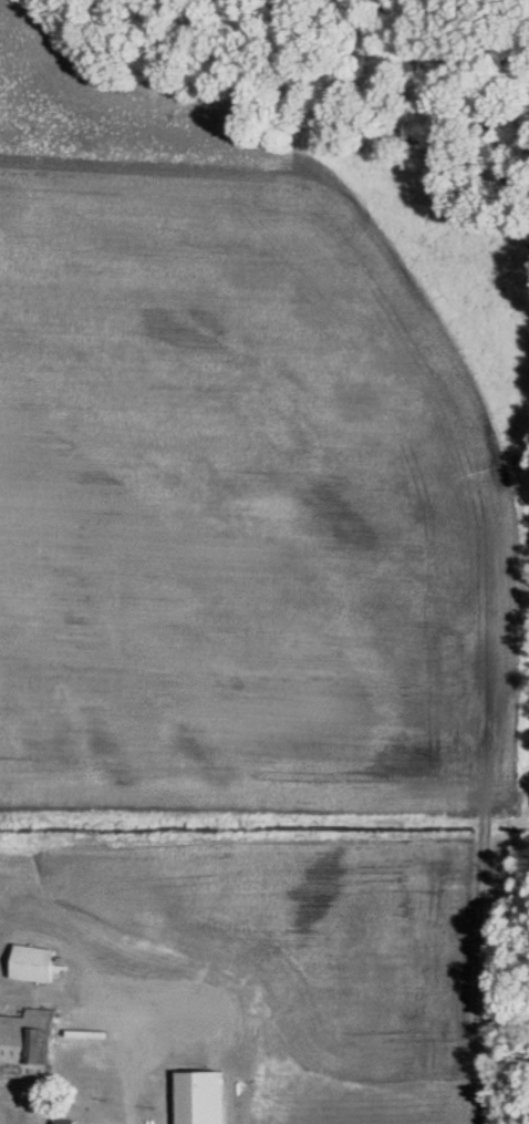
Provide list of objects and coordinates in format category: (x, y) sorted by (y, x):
building: (40, 967)
building: (29, 1049)
building: (206, 1099)
building: (71, 1123)

